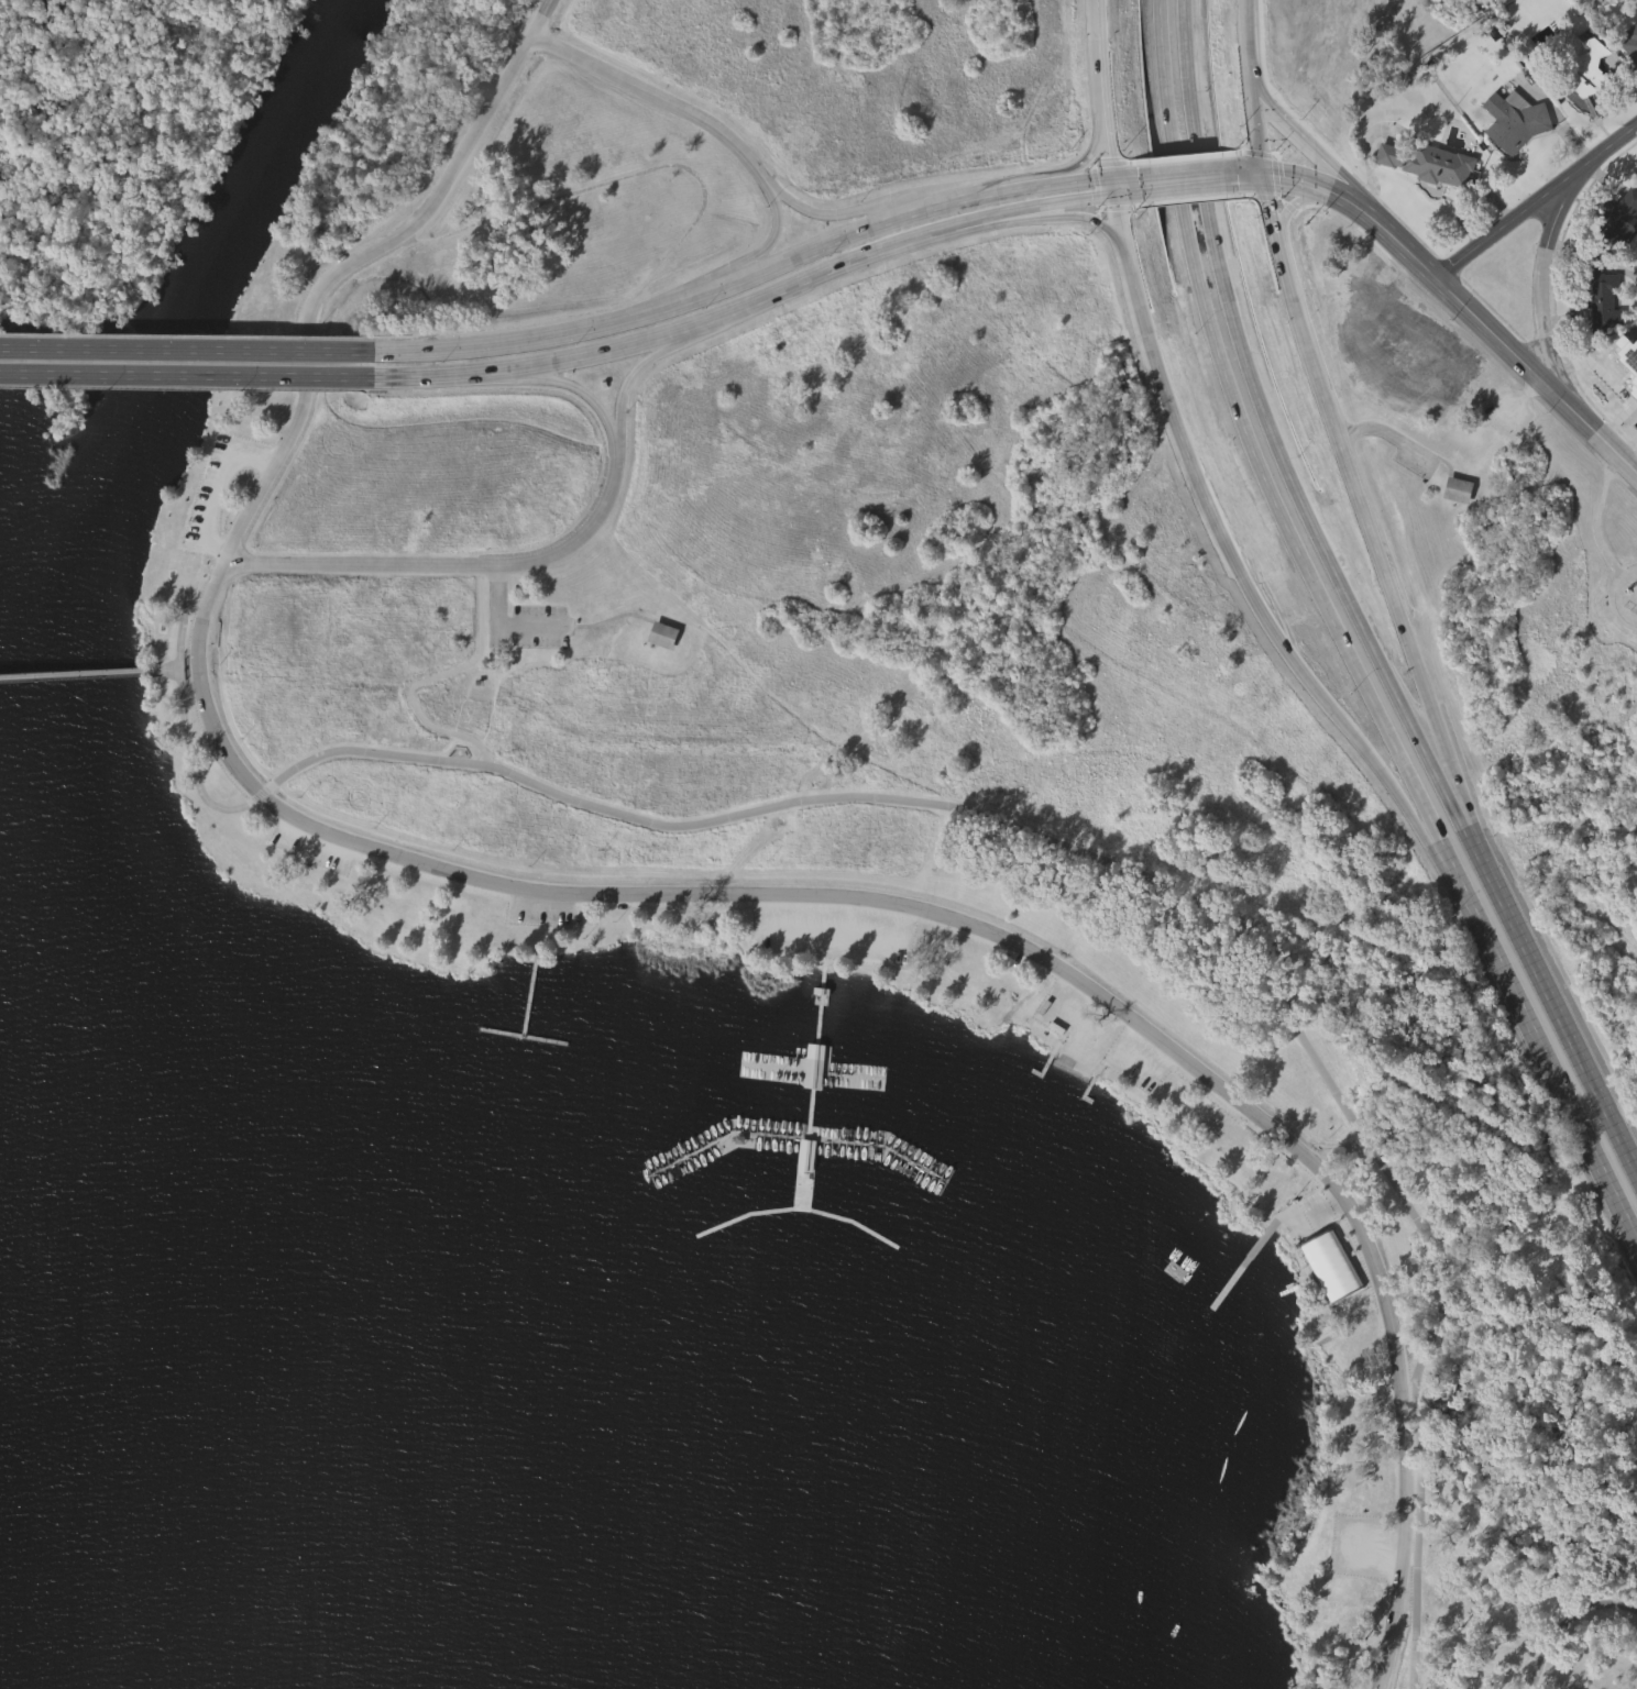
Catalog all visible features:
park: (1350, 36)
building: (1633, 41)
building: (1589, 65)
building: (1630, 85)
road: (1101, 91)
road: (666, 106)
building: (1584, 111)
building: (1519, 119)
road: (1314, 148)
road: (1092, 152)
building: (1432, 163)
building: (1517, 164)
road: (1081, 176)
traffic signals: (1265, 178)
road: (1189, 180)
traffic signals: (1113, 184)
road: (969, 195)
road: (1537, 199)
road: (1283, 201)
building: (1428, 205)
road: (1064, 206)
road: (833, 217)
road: (1077, 218)
building: (1619, 218)
road: (767, 243)
building: (1624, 254)
road: (350, 268)
road: (1540, 284)
building: (1602, 299)
road: (1464, 302)
road: (639, 312)
road: (699, 331)
building: (1602, 342)
road: (186, 350)
road: (186, 374)
road: (626, 387)
road: (580, 391)
building: (1628, 400)
road: (1330, 420)
road: (1271, 431)
road: (1249, 443)
road: (1189, 460)
road: (216, 484)
building: (1458, 488)
road: (1597, 515)
building: (1457, 531)
road: (459, 566)
road: (1612, 594)
road: (184, 606)
road: (612, 616)
road: (505, 625)
parking lot: (530, 627)
building: (660, 633)
road: (88, 671)
road: (429, 677)
building: (662, 677)
road: (190, 764)
road: (1391, 780)
road: (1158, 882)
park: (781, 887)
road: (971, 925)
pier: (529, 992)
road: (1551, 1000)
pier: (521, 1034)
road: (1096, 1044)
road: (1086, 1045)
road: (1542, 1049)
building: (812, 1064)
pier: (810, 1070)
pier: (812, 1077)
pier: (798, 1135)
building: (804, 1153)
pier: (1244, 1266)
road: (1563, 1619)

